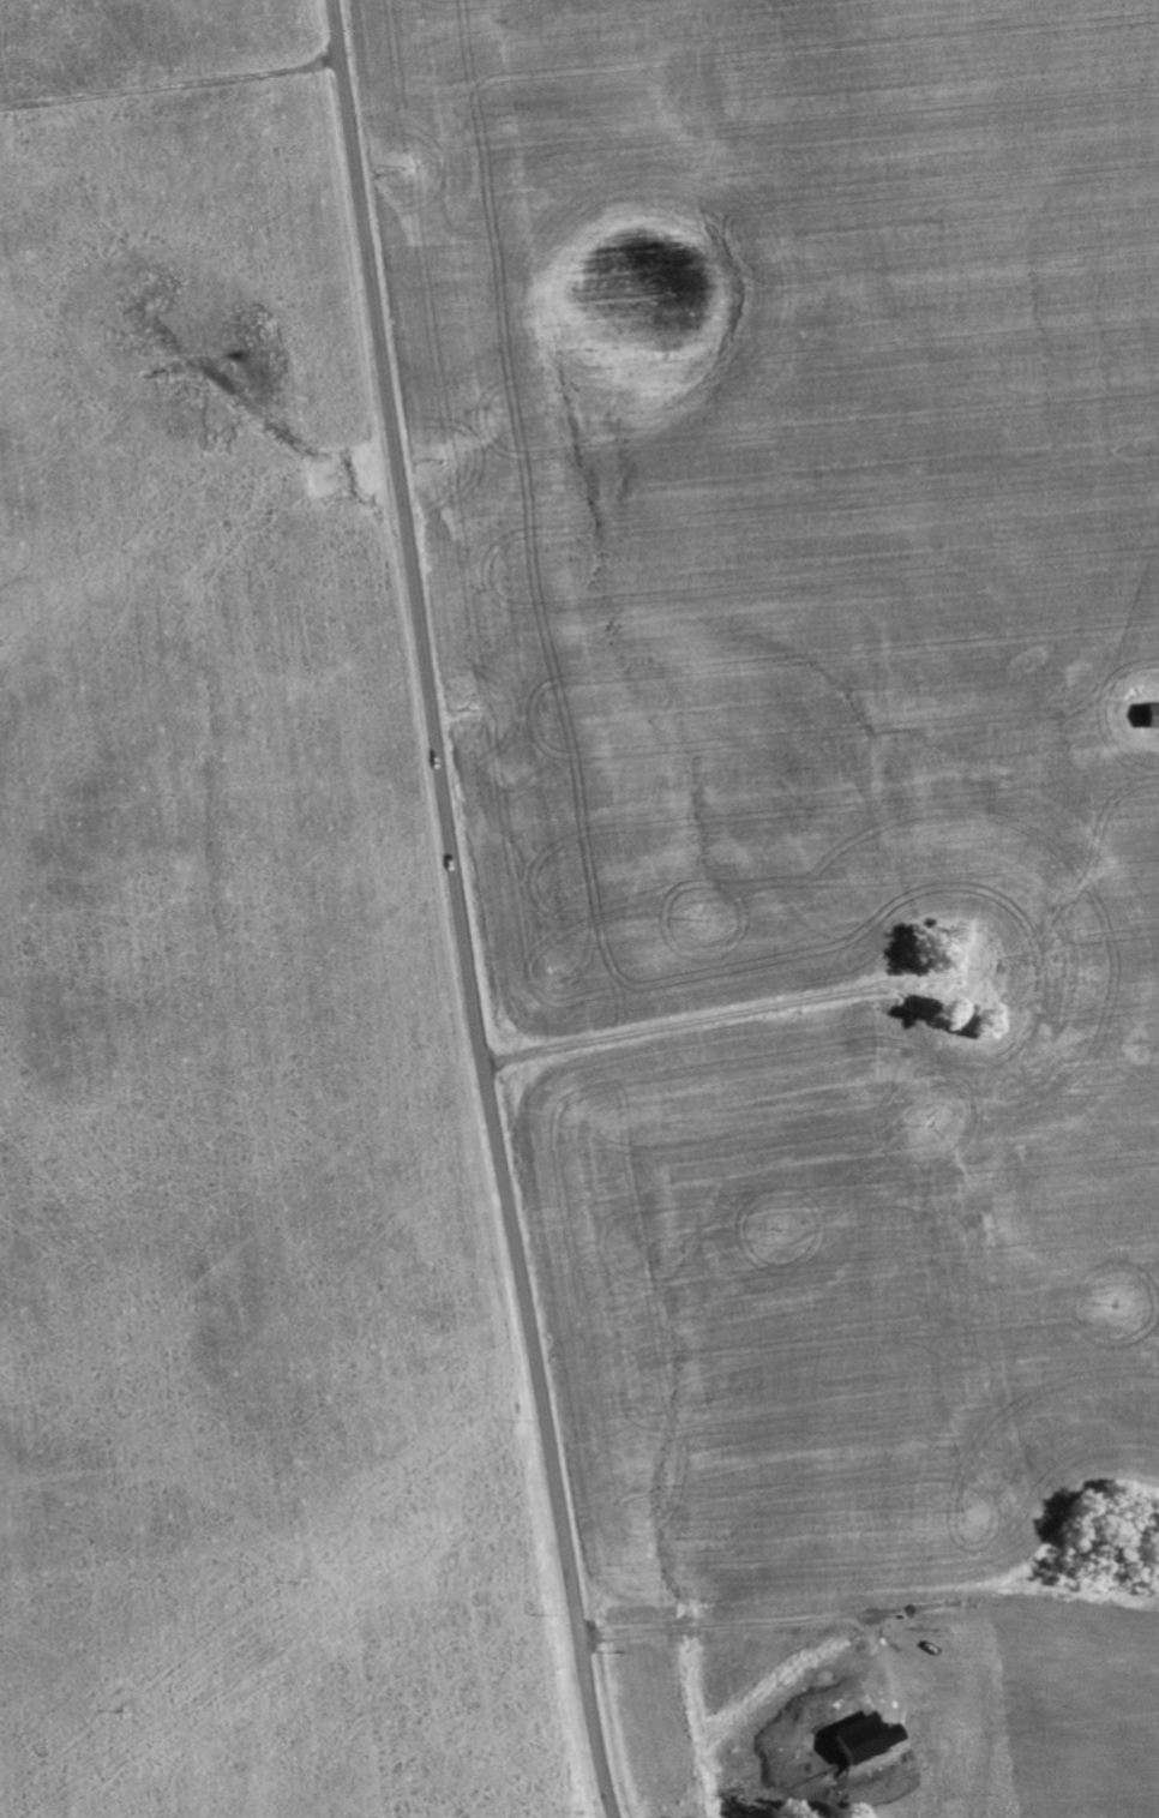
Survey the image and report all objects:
road: (168, 65)
building: (1149, 718)
road: (458, 911)
road: (767, 1624)

